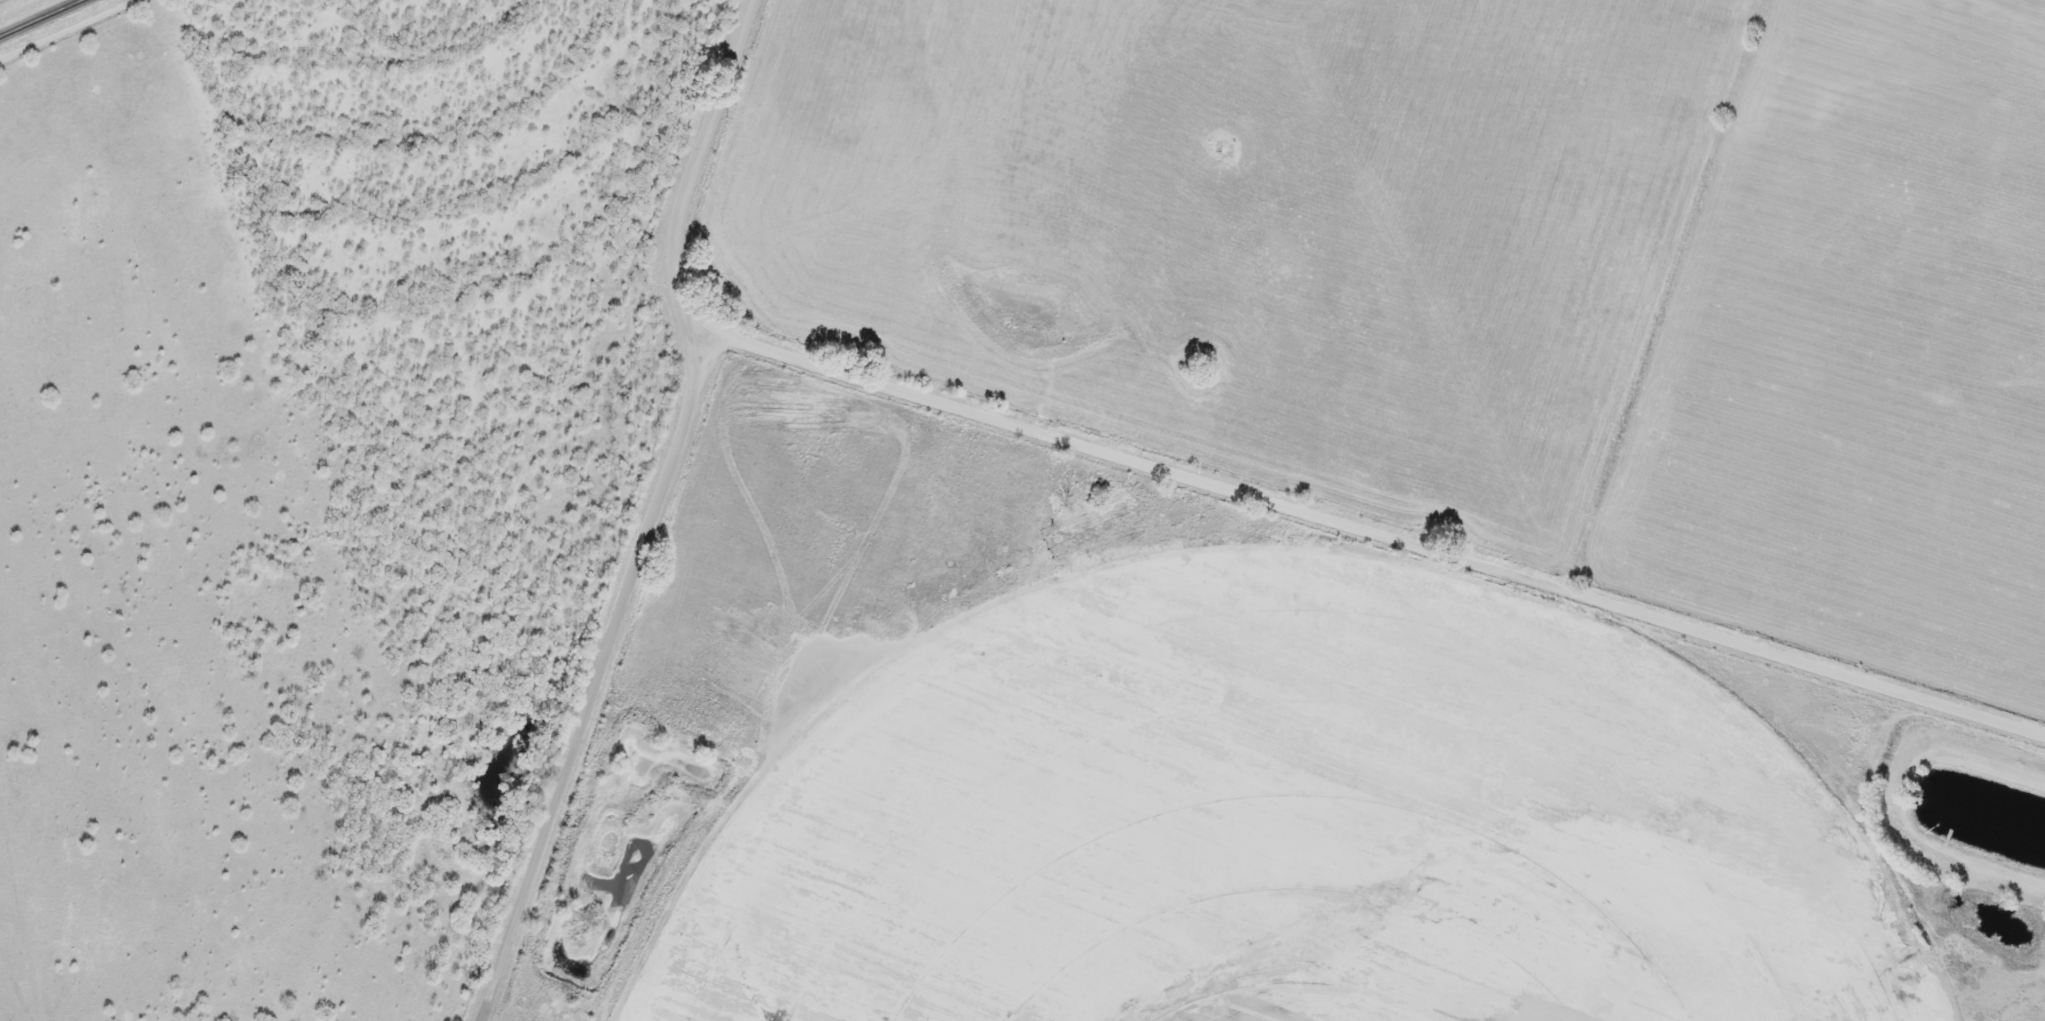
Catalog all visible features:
road: (39, 17)
road: (699, 303)
road: (710, 357)
road: (649, 513)
road: (1391, 535)

